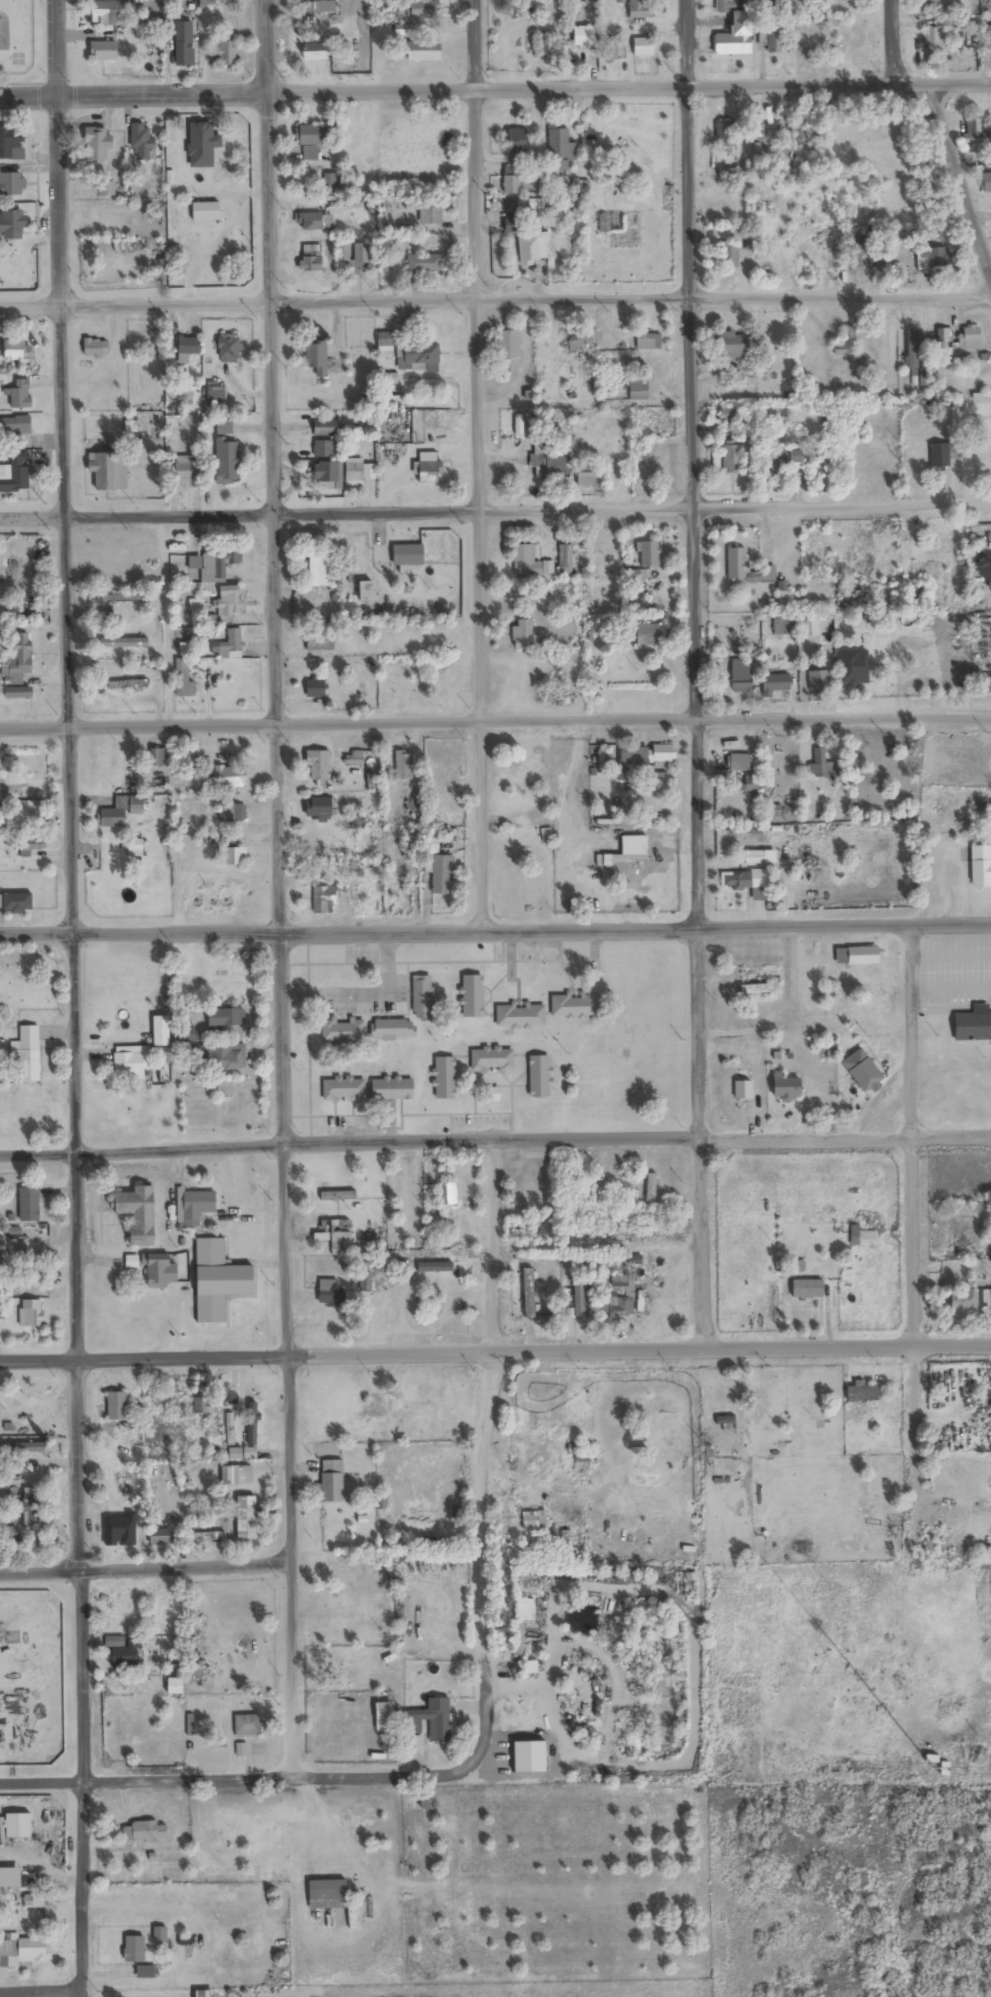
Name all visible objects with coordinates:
building: (940, 2)
building: (318, 6)
building: (424, 10)
building: (640, 10)
building: (104, 12)
building: (402, 30)
building: (734, 30)
building: (584, 37)
building: (987, 39)
road: (891, 40)
building: (774, 41)
building: (935, 41)
building: (546, 44)
building: (643, 48)
building: (103, 51)
building: (611, 52)
building: (316, 53)
building: (424, 53)
building: (184, 54)
building: (225, 54)
road: (495, 86)
building: (800, 131)
building: (975, 131)
building: (725, 135)
building: (627, 137)
building: (517, 140)
building: (9, 142)
building: (142, 142)
building: (310, 142)
building: (97, 144)
building: (202, 145)
building: (559, 150)
road: (958, 172)
building: (12, 184)
building: (329, 184)
building: (987, 184)
building: (511, 185)
building: (107, 188)
building: (430, 216)
building: (15, 222)
building: (313, 222)
building: (512, 225)
building: (529, 249)
building: (343, 253)
building: (729, 256)
building: (933, 258)
building: (311, 259)
building: (361, 259)
building: (425, 264)
road: (495, 300)
building: (943, 335)
building: (970, 338)
building: (580, 341)
building: (645, 342)
building: (385, 343)
building: (509, 344)
building: (730, 345)
building: (96, 347)
building: (187, 349)
building: (228, 349)
building: (913, 349)
building: (17, 350)
building: (418, 358)
building: (322, 361)
building: (639, 388)
building: (21, 395)
building: (215, 397)
building: (397, 400)
building: (731, 419)
building: (224, 427)
building: (324, 428)
building: (19, 434)
building: (324, 449)
building: (940, 456)
building: (732, 459)
building: (784, 460)
building: (227, 461)
road: (480, 464)
building: (550, 466)
building: (109, 470)
building: (183, 470)
building: (354, 472)
building: (327, 473)
building: (430, 473)
building: (15, 474)
building: (587, 474)
building: (615, 475)
road: (495, 507)
building: (649, 554)
building: (408, 556)
building: (216, 560)
building: (565, 560)
building: (525, 561)
building: (736, 564)
building: (320, 569)
building: (365, 592)
building: (915, 594)
building: (787, 596)
building: (229, 601)
building: (784, 627)
building: (814, 628)
building: (650, 634)
building: (522, 635)
building: (320, 642)
building: (123, 643)
building: (229, 647)
building: (186, 649)
building: (17, 658)
building: (893, 664)
road: (695, 673)
building: (741, 677)
building: (183, 680)
building: (819, 683)
building: (776, 684)
building: (127, 685)
building: (316, 688)
road: (495, 723)
building: (663, 753)
building: (635, 756)
building: (158, 759)
building: (774, 761)
building: (818, 764)
building: (404, 765)
building: (318, 768)
building: (743, 772)
building: (107, 773)
building: (230, 777)
building: (136, 805)
building: (319, 808)
building: (774, 811)
building: (28, 813)
building: (231, 813)
building: (112, 818)
building: (26, 847)
building: (135, 848)
building: (231, 857)
building: (756, 857)
building: (981, 865)
building: (439, 869)
building: (397, 884)
road: (280, 888)
building: (324, 896)
building: (17, 902)
road: (495, 928)
building: (855, 956)
building: (421, 997)
building: (472, 997)
road: (87, 998)
building: (575, 1007)
building: (521, 1017)
building: (226, 1020)
building: (973, 1024)
building: (343, 1031)
building: (25, 1055)
building: (228, 1058)
building: (492, 1060)
building: (131, 1061)
building: (862, 1070)
building: (539, 1077)
building: (445, 1078)
building: (786, 1086)
building: (343, 1089)
building: (392, 1089)
building: (742, 1091)
building: (19, 1096)
road: (495, 1144)
building: (536, 1194)
building: (338, 1196)
building: (401, 1203)
building: (28, 1204)
building: (197, 1205)
road: (909, 1208)
building: (139, 1214)
building: (340, 1244)
building: (161, 1272)
building: (218, 1282)
building: (365, 1283)
building: (808, 1289)
building: (331, 1295)
building: (579, 1299)
building: (619, 1299)
building: (965, 1300)
building: (987, 1300)
building: (537, 1306)
building: (33, 1317)
road: (495, 1350)
road: (595, 1369)
building: (862, 1394)
building: (377, 1405)
building: (204, 1406)
building: (116, 1407)
building: (23, 1420)
building: (725, 1424)
building: (252, 1425)
building: (230, 1429)
building: (664, 1435)
building: (22, 1448)
road: (475, 1455)
building: (236, 1476)
building: (332, 1482)
building: (120, 1492)
building: (27, 1501)
building: (247, 1517)
building: (10, 1531)
building: (159, 1538)
building: (209, 1538)
road: (144, 1573)
building: (125, 1655)
building: (429, 1724)
building: (248, 1726)
road: (237, 1778)
building: (18, 1825)
building: (144, 1832)
building: (328, 1894)
building: (160, 1934)
building: (22, 1947)
building: (134, 1949)
building: (146, 1972)
road: (40, 1994)

